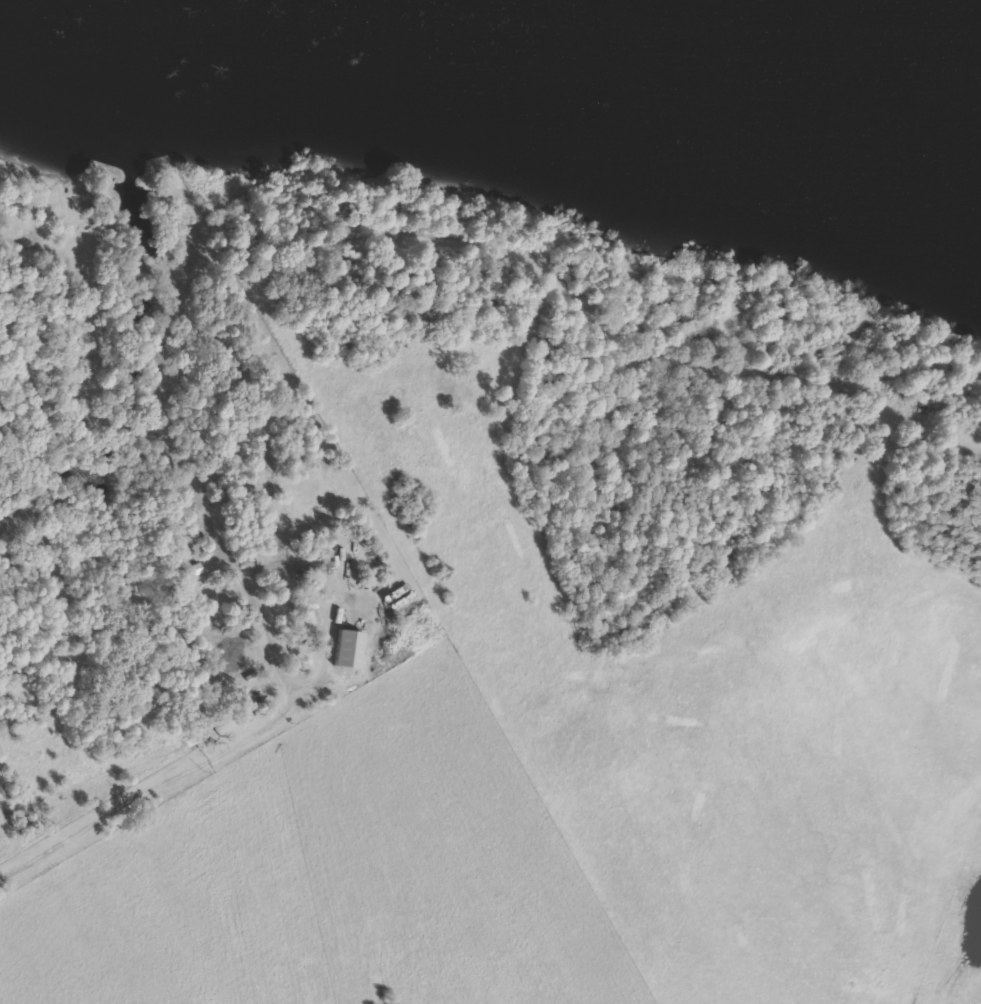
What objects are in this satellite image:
road: (943, 733)
road: (914, 891)

